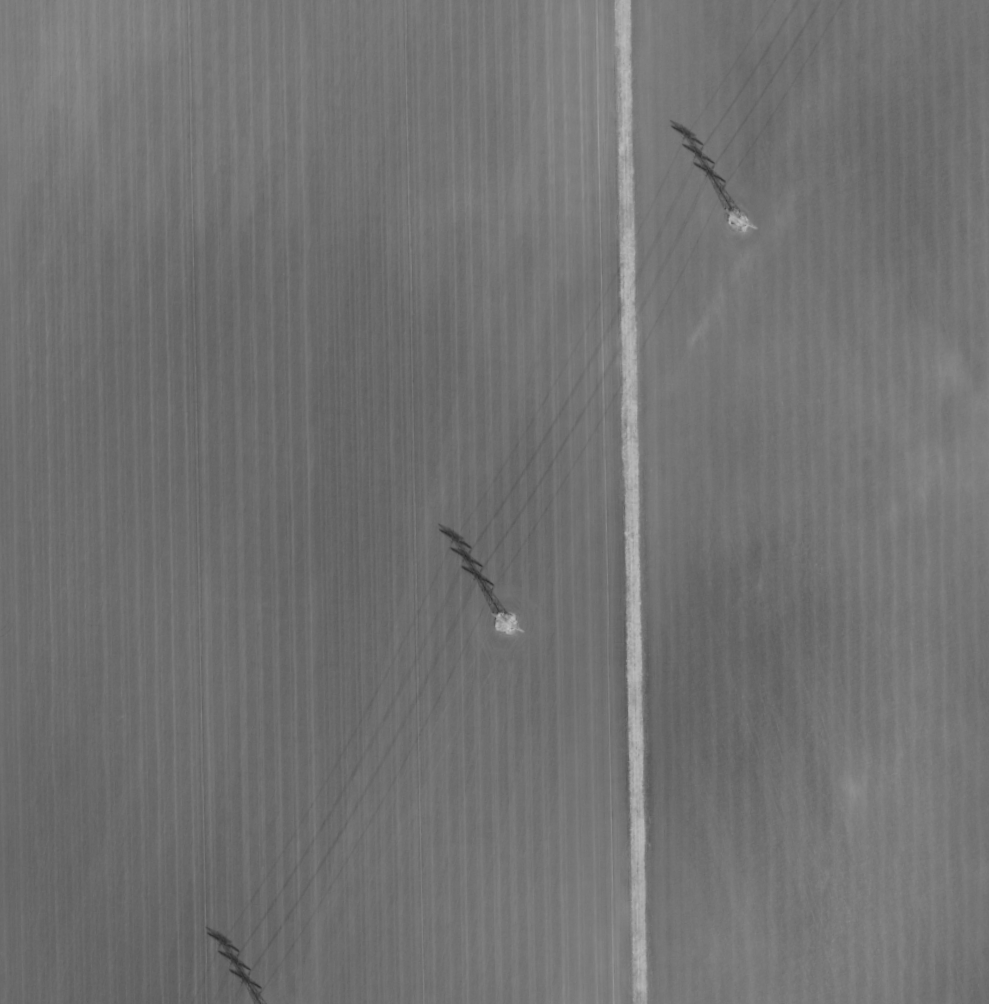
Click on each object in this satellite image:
power tower: (737, 220)
road: (635, 502)
power tower: (506, 624)

